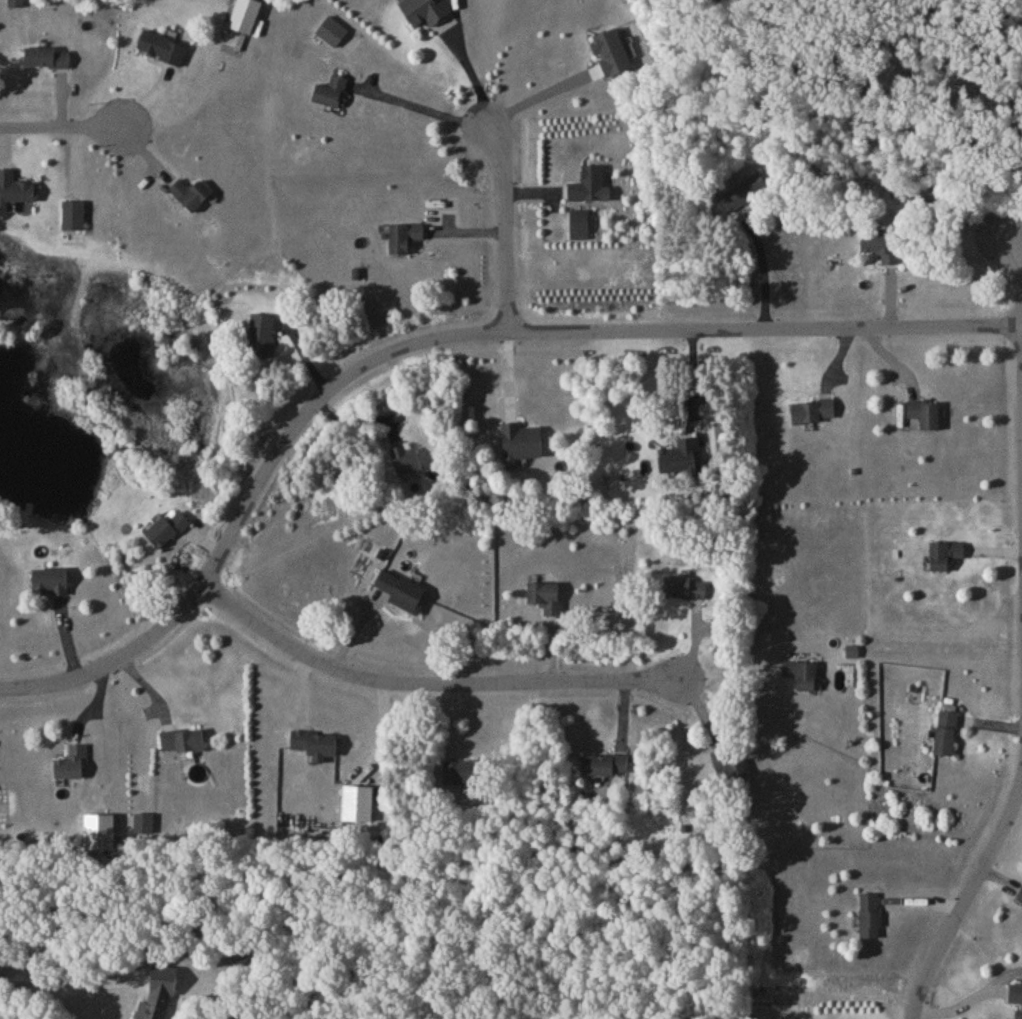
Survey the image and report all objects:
building: (16, 5)
building: (427, 14)
building: (333, 35)
building: (164, 51)
building: (613, 56)
building: (48, 61)
building: (332, 95)
road: (533, 99)
road: (420, 110)
road: (60, 131)
building: (591, 190)
building: (14, 193)
building: (746, 196)
building: (193, 198)
building: (74, 219)
road: (505, 225)
building: (581, 228)
road: (1016, 233)
building: (406, 241)
building: (883, 248)
road: (766, 275)
building: (262, 339)
road: (1019, 339)
road: (433, 341)
road: (694, 390)
building: (814, 415)
building: (927, 418)
building: (522, 447)
building: (682, 460)
building: (408, 463)
building: (168, 533)
building: (947, 559)
building: (52, 586)
building: (686, 591)
building: (404, 595)
building: (547, 601)
road: (724, 670)
building: (803, 679)
road: (425, 686)
building: (947, 738)
building: (184, 745)
building: (316, 748)
building: (73, 768)
building: (606, 769)
building: (730, 770)
building: (466, 777)
road: (970, 893)
building: (1021, 901)
building: (872, 920)
building: (240, 957)
road: (59, 969)
building: (161, 994)
building: (1017, 1000)

